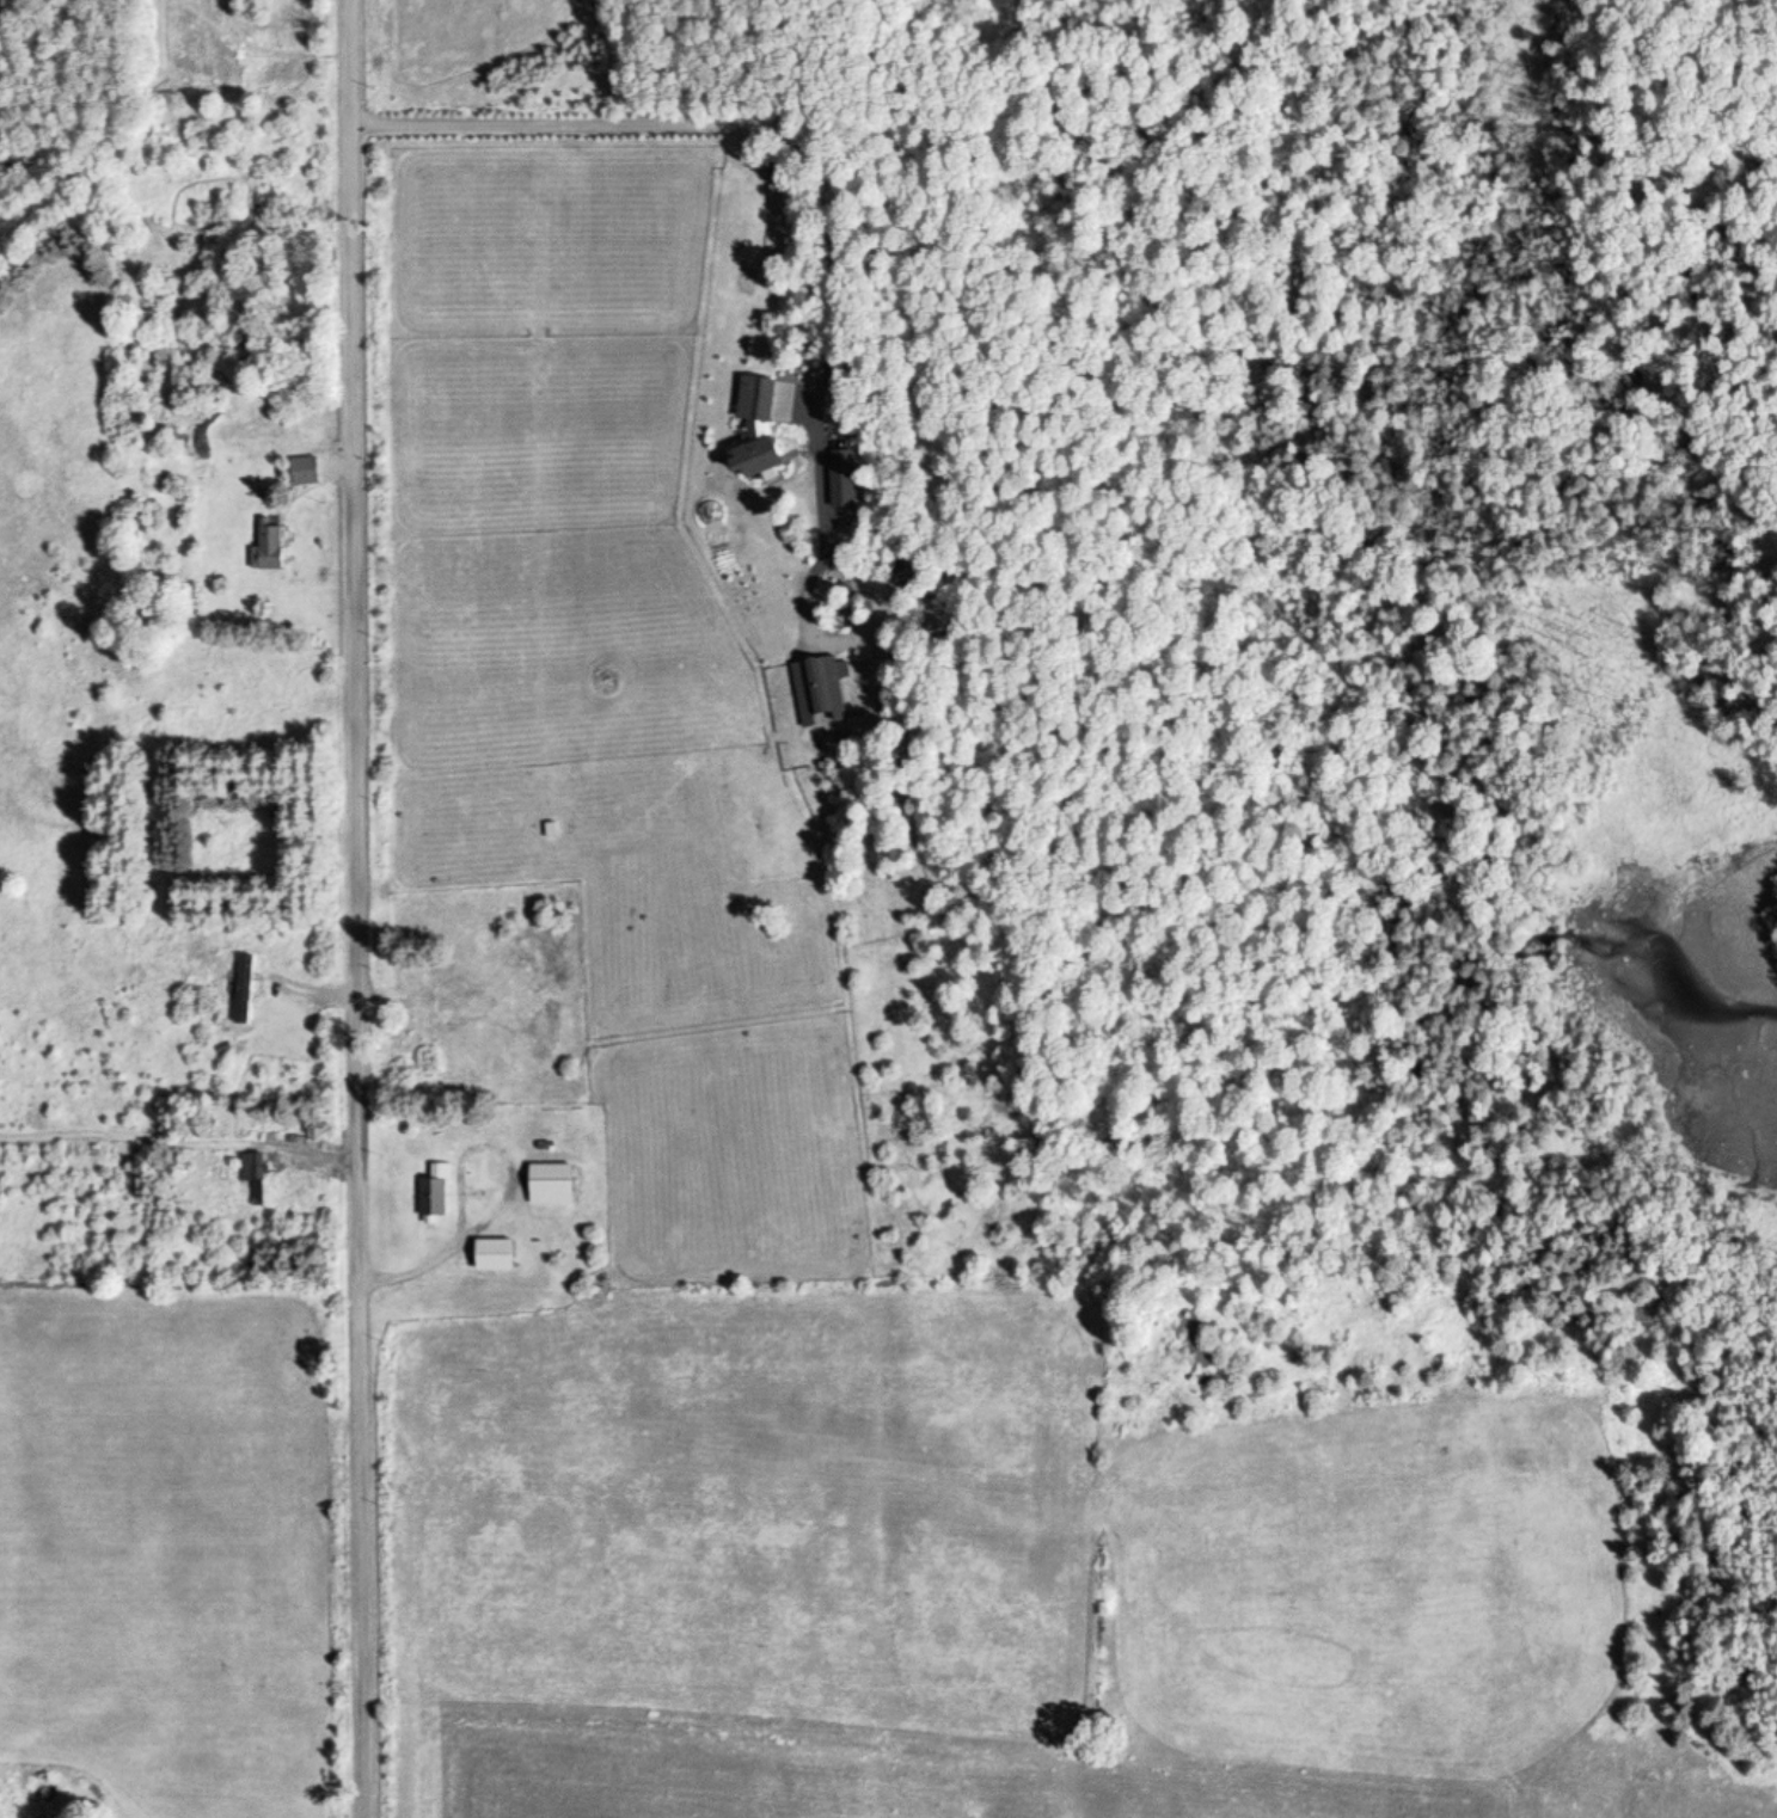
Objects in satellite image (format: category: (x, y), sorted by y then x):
building: (304, 472)
building: (266, 547)
road: (359, 909)
building: (514, 960)
building: (241, 990)
building: (443, 1031)
building: (252, 1177)
building: (547, 1186)
building: (434, 1192)
building: (491, 1257)

